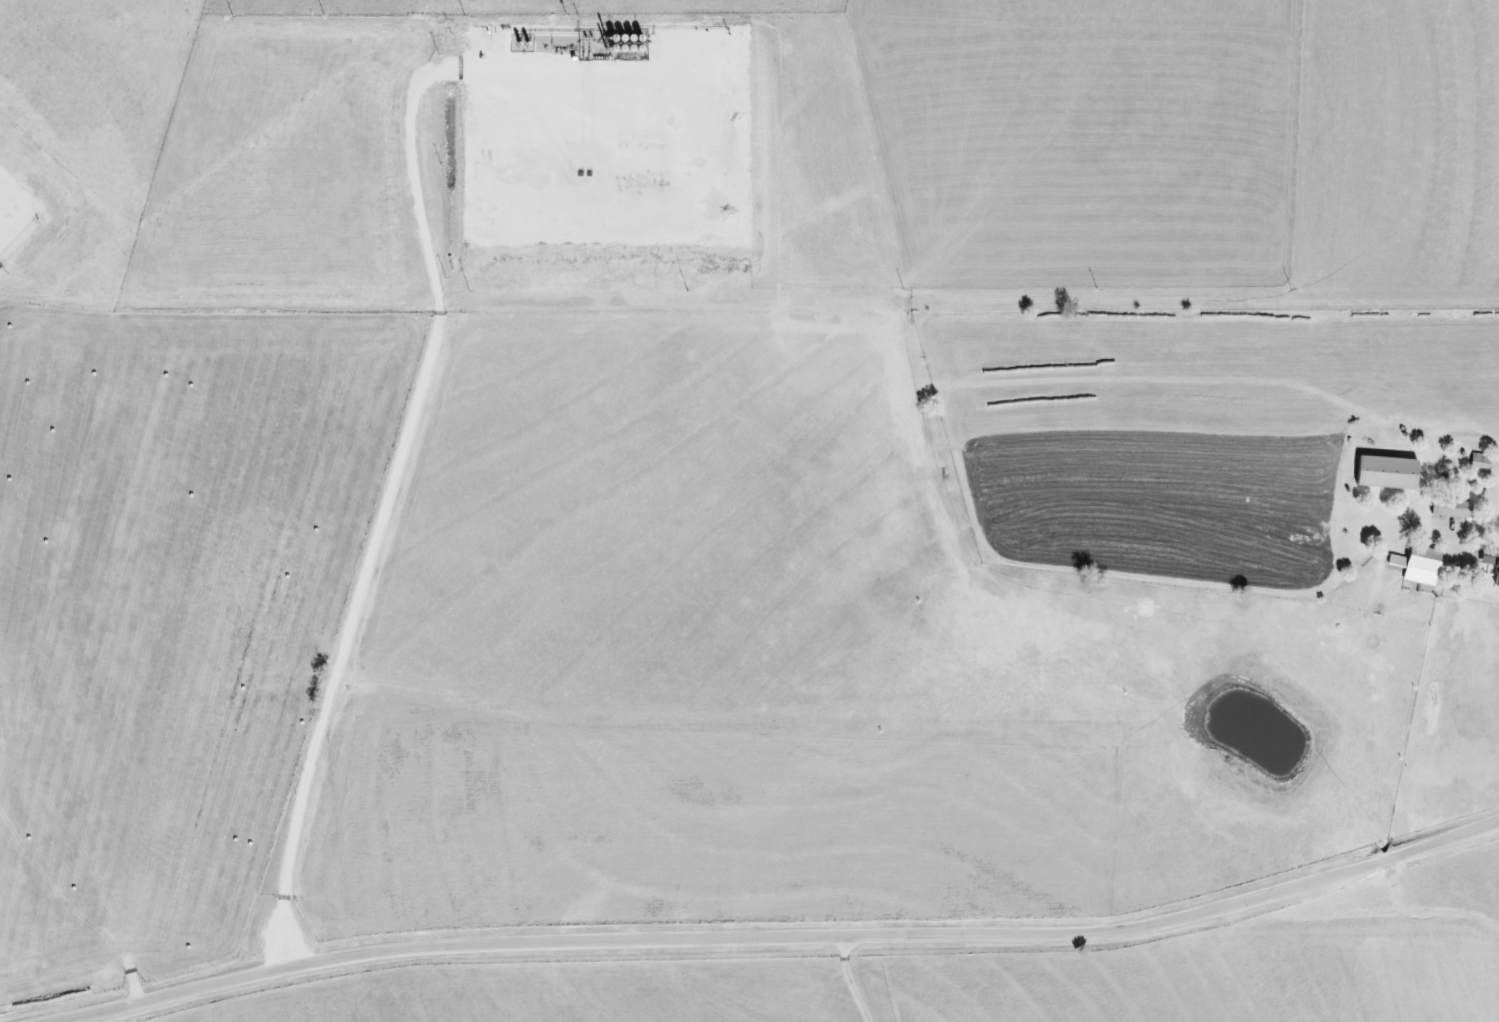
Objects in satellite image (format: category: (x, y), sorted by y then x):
building: (1479, 460)
building: (1383, 472)
building: (1450, 508)
building: (1491, 562)
building: (1416, 564)
road: (1472, 580)
road: (780, 937)

